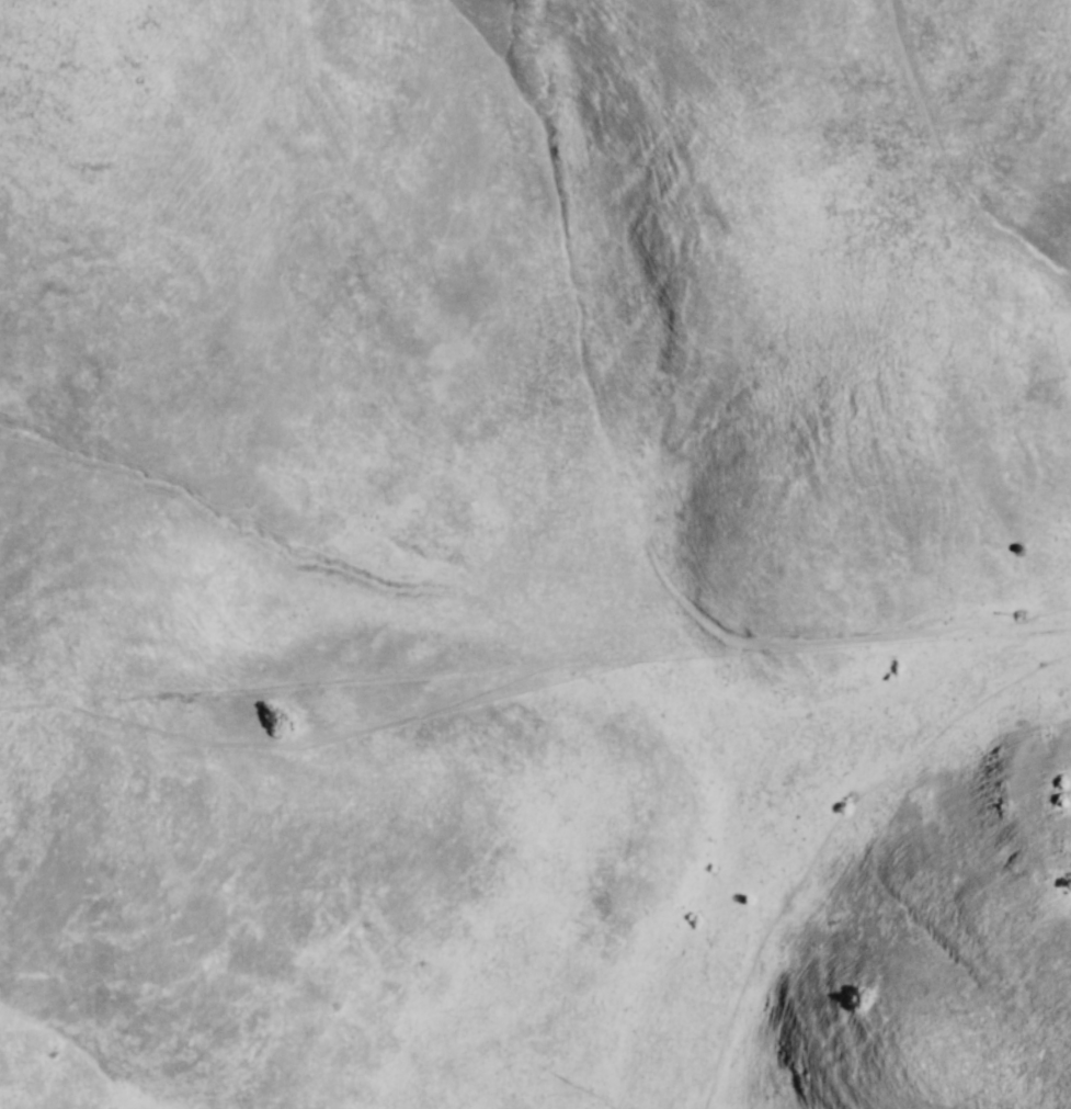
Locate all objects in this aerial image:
road: (873, 858)

